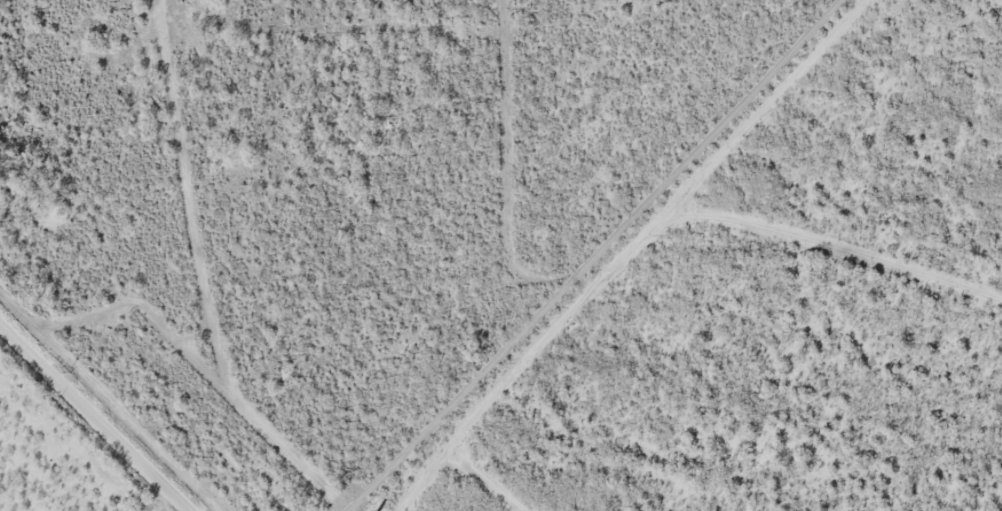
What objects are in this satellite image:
road: (107, 406)

